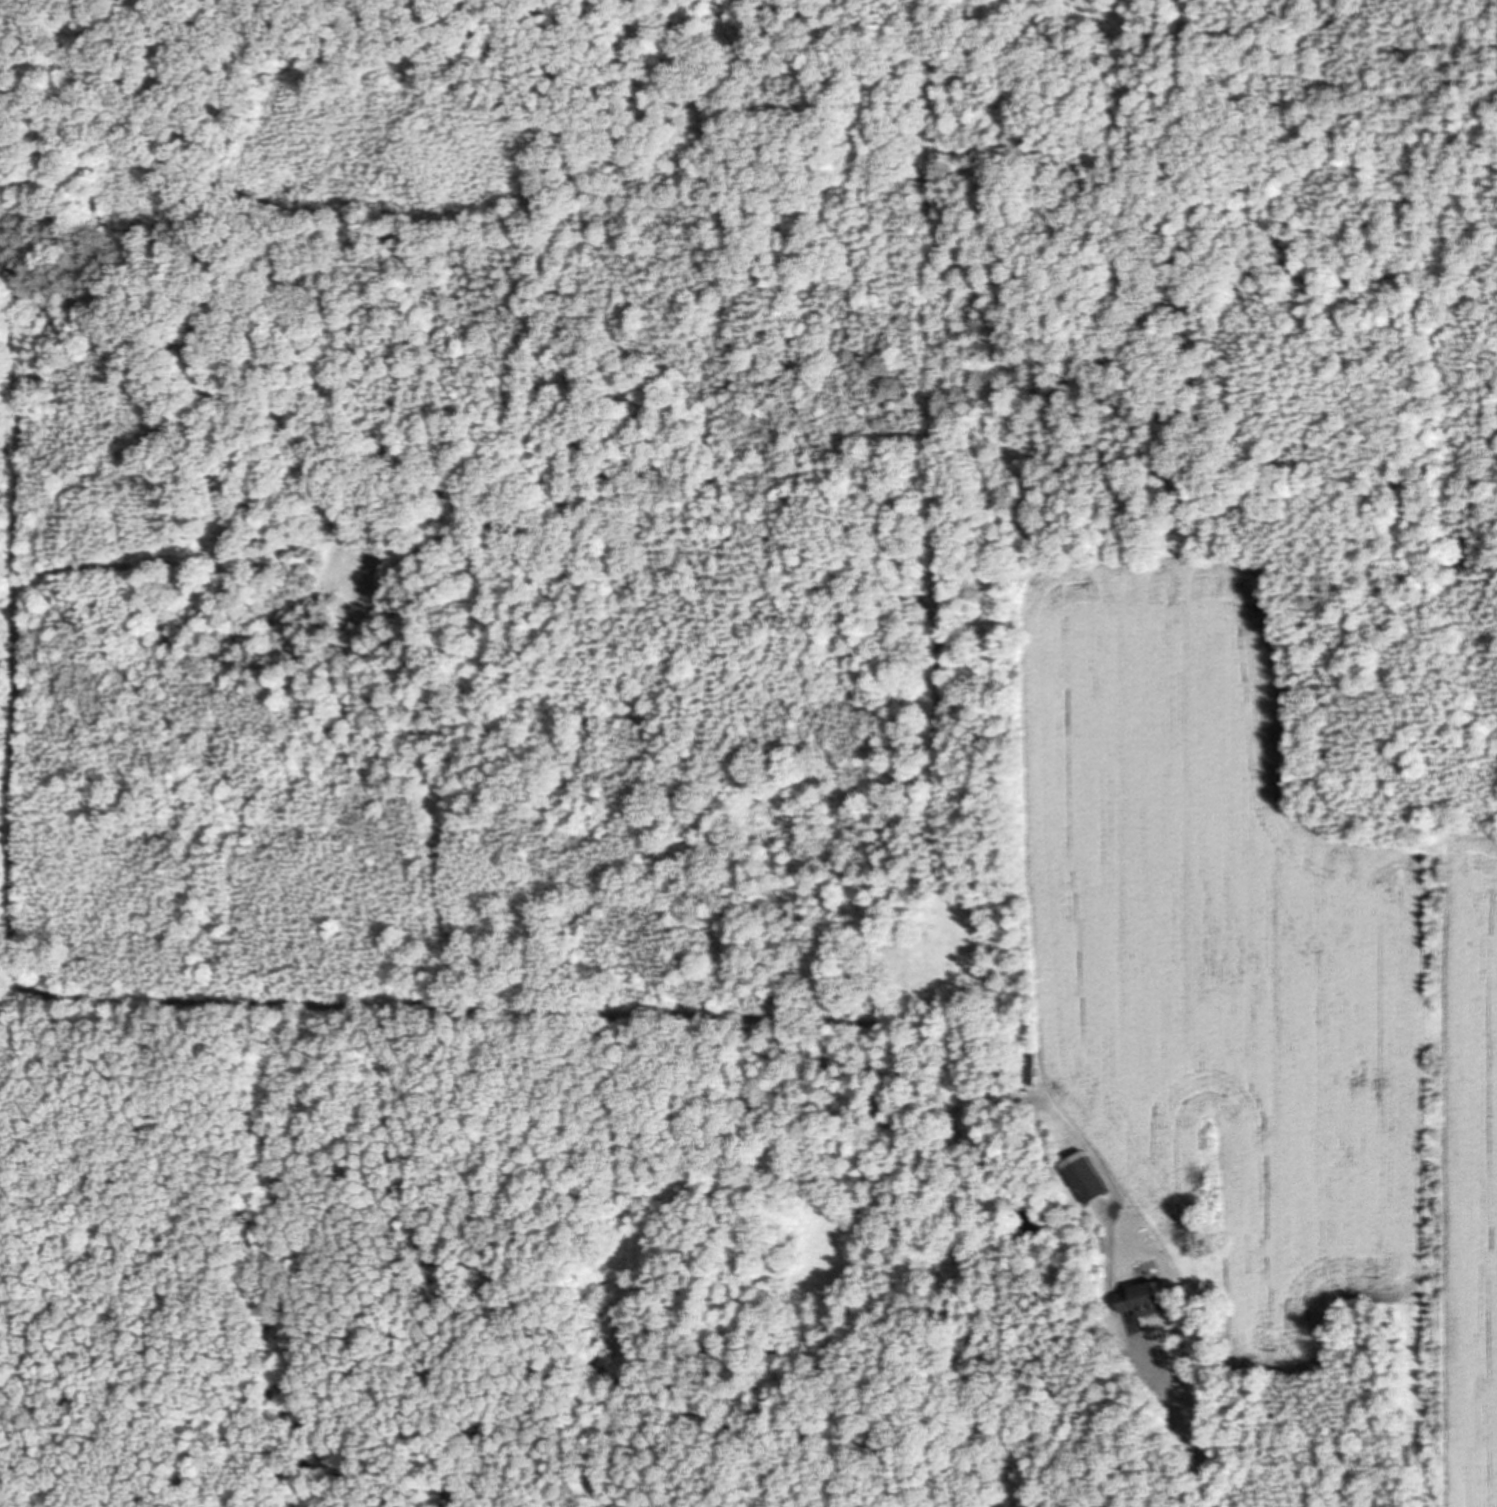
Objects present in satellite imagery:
crop: (1340, 1032)
building: (1090, 1181)
building: (1147, 1300)

